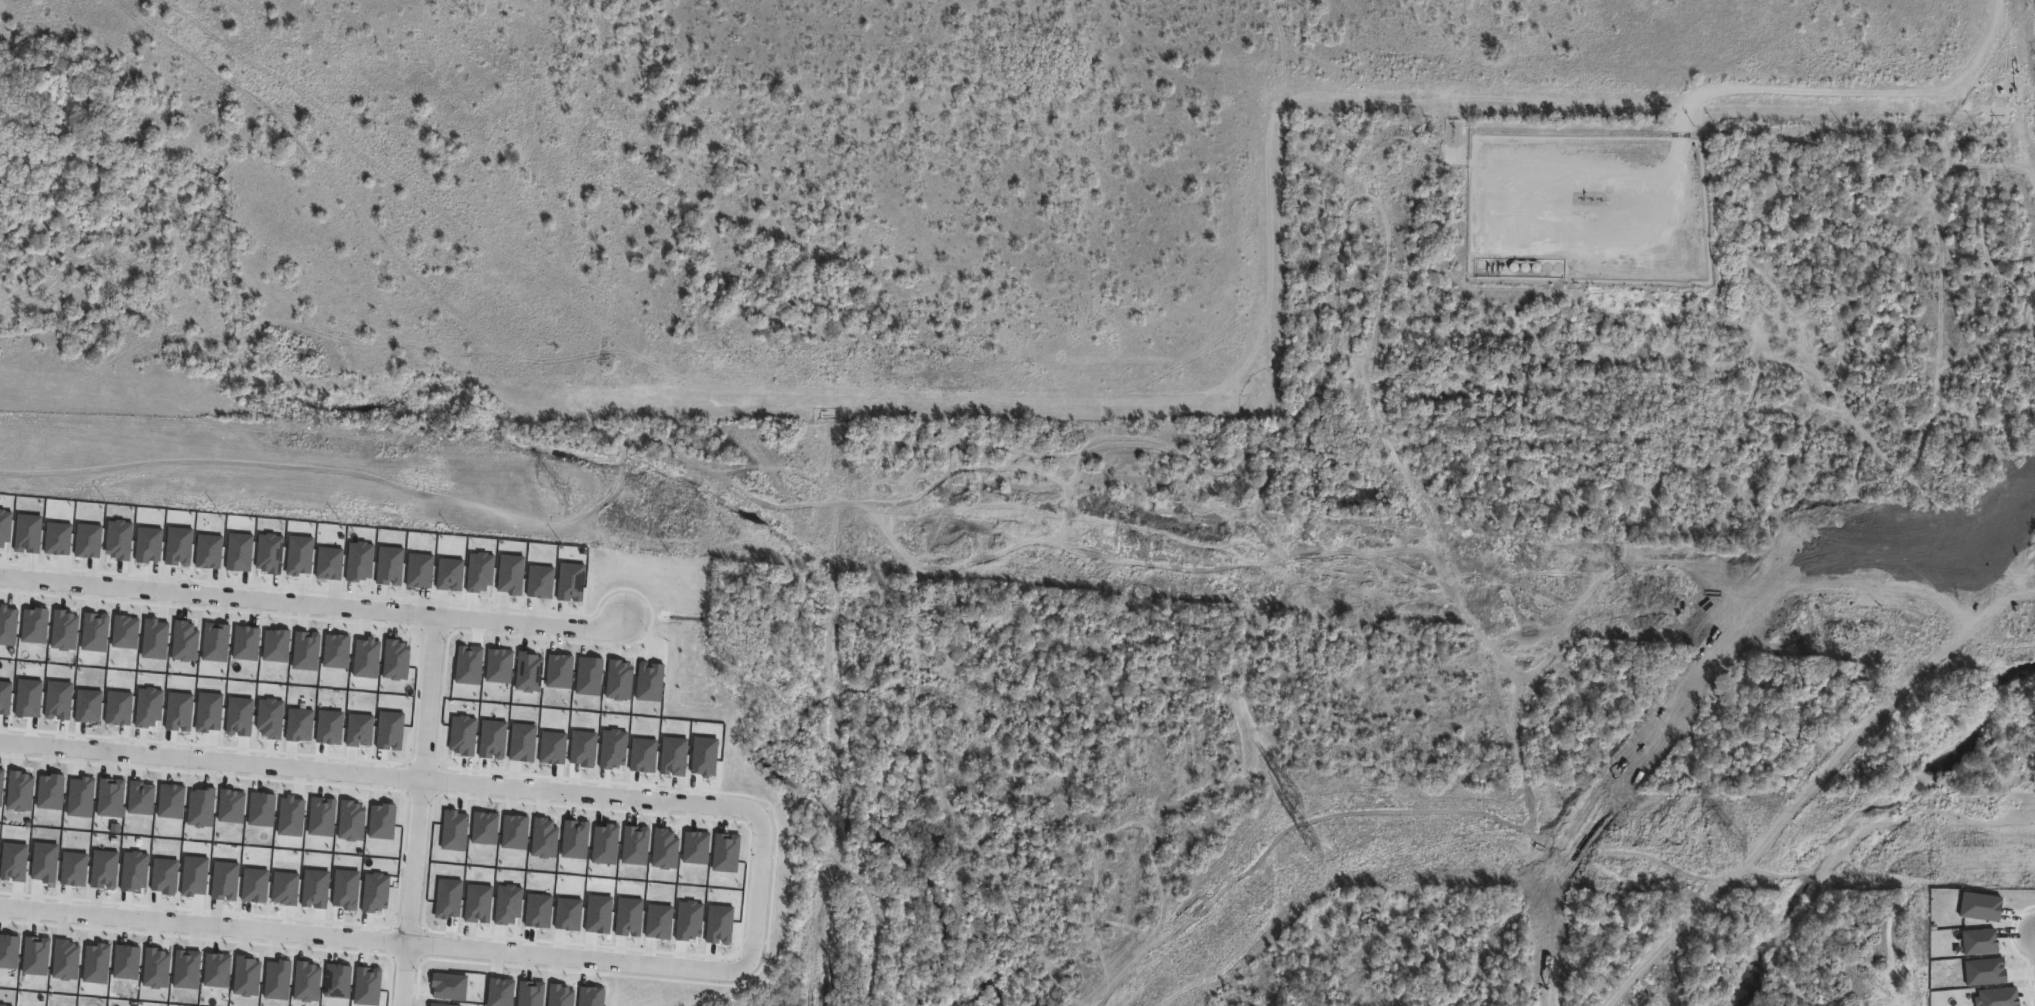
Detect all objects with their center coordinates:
road: (1855, 92)
power tower: (565, 499)
power tower: (1143, 550)
power tower: (1644, 597)
road: (312, 603)
road: (430, 780)
power tower: (1738, 837)
power tower: (1312, 838)
road: (761, 882)
park: (1448, 946)
road: (414, 976)

